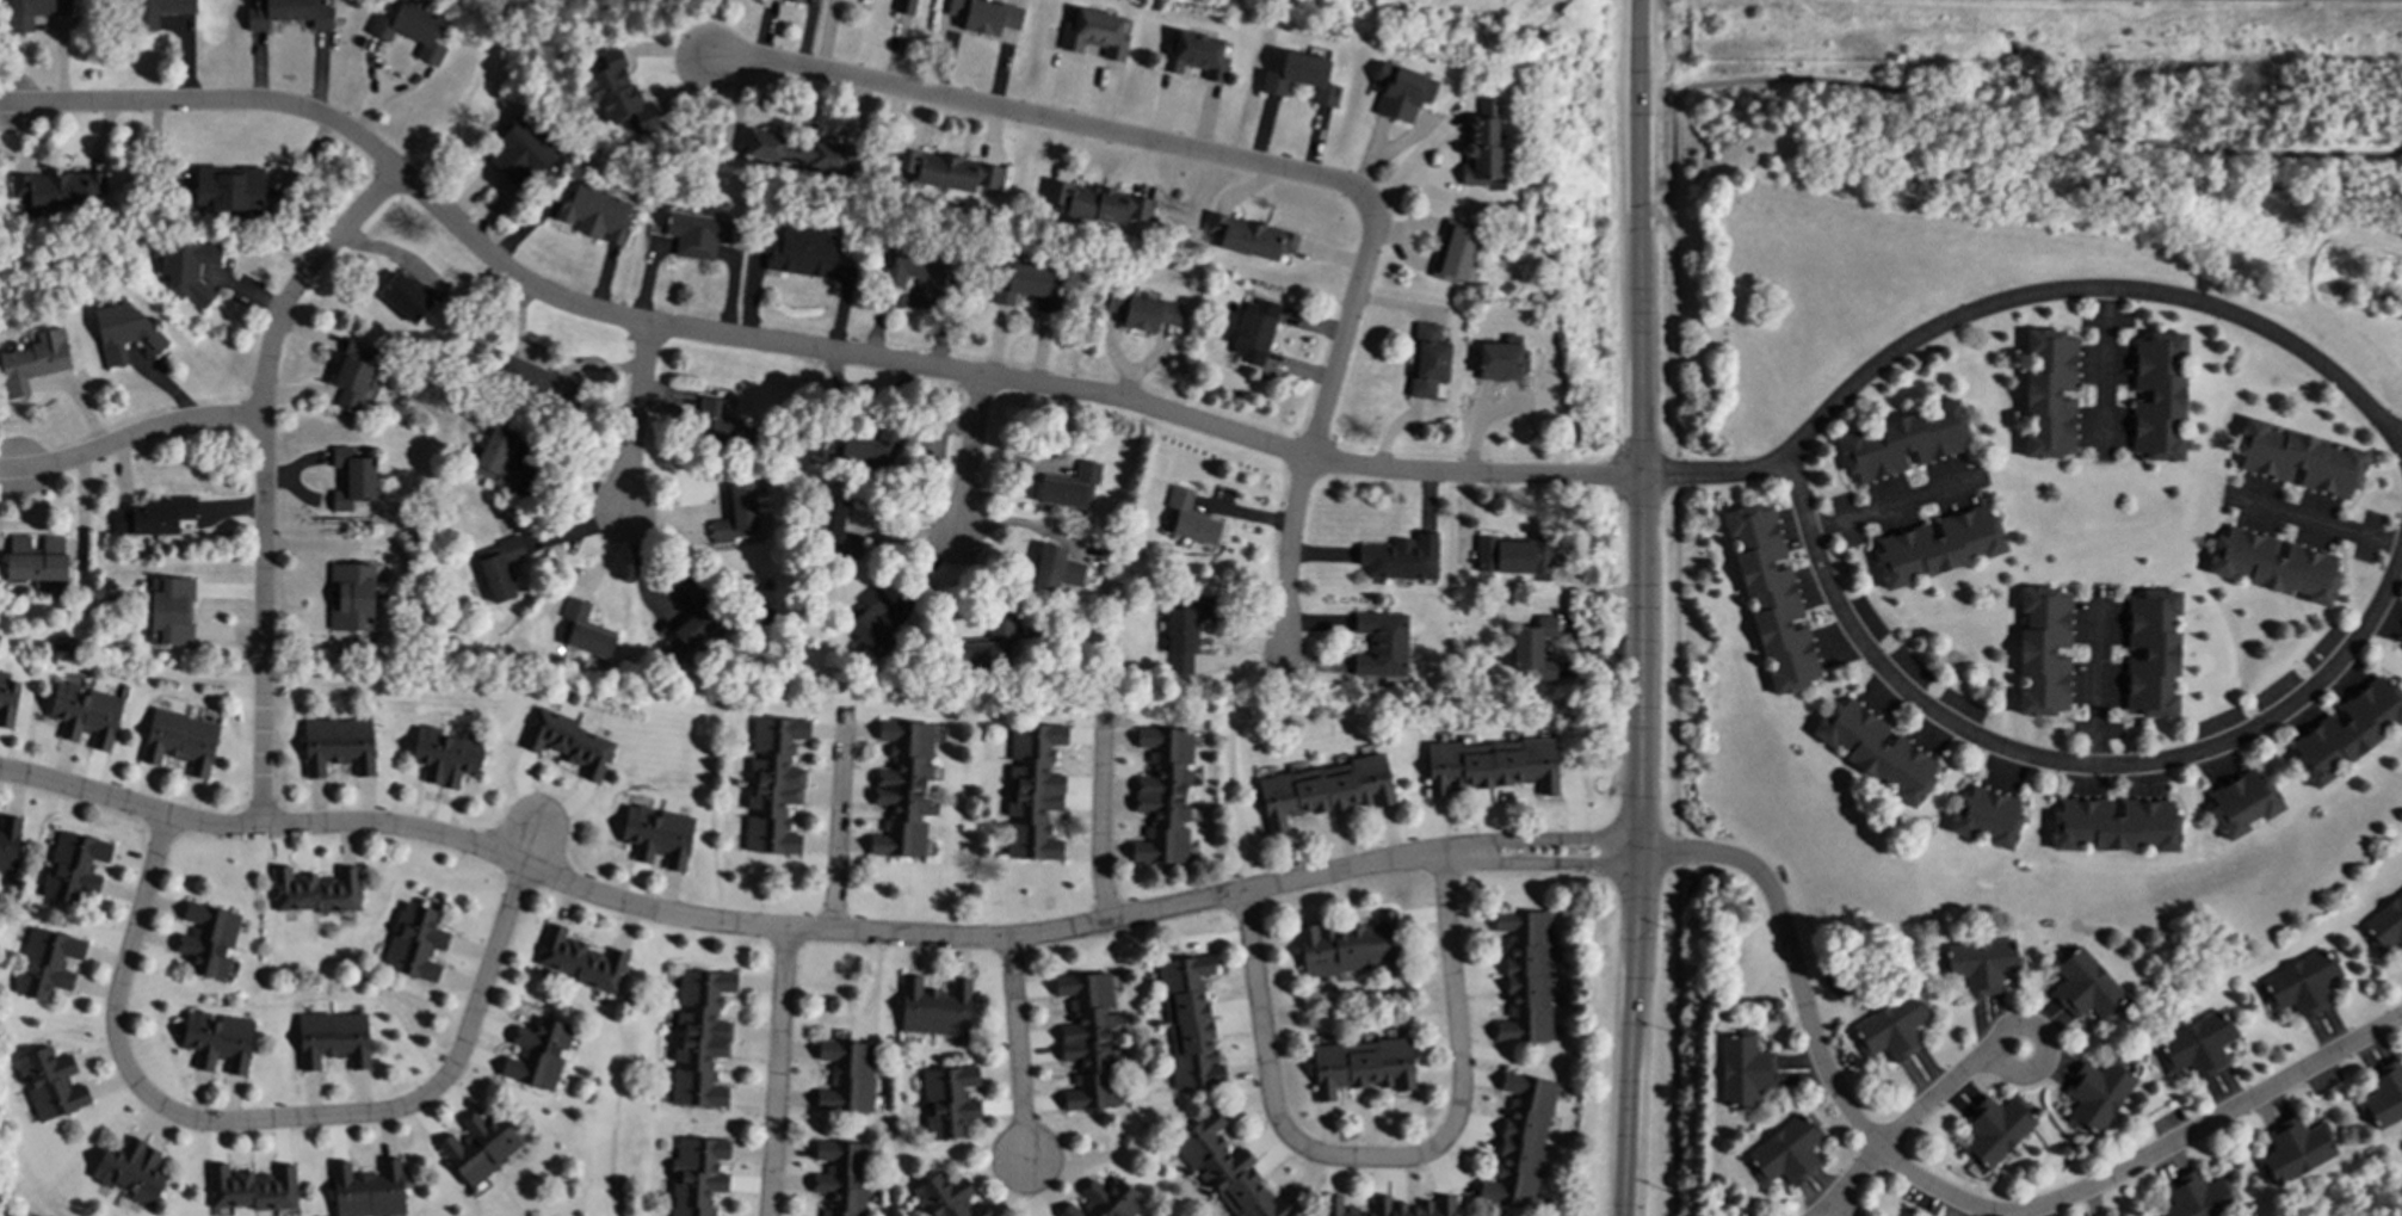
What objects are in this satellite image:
building: (797, 0)
building: (904, 6)
building: (160, 11)
building: (32, 12)
building: (289, 13)
building: (984, 16)
building: (409, 27)
building: (1094, 33)
building: (1193, 55)
building: (1301, 78)
building: (1400, 92)
building: (616, 93)
road: (1972, 105)
park: (2023, 116)
road: (1044, 118)
building: (1481, 146)
building: (796, 150)
building: (519, 153)
road: (1418, 158)
building: (944, 172)
building: (60, 189)
building: (228, 189)
building: (1097, 203)
building: (594, 212)
road: (1655, 215)
building: (696, 234)
building: (1247, 237)
building: (1453, 251)
building: (803, 253)
building: (187, 267)
building: (914, 268)
building: (1024, 285)
building: (406, 298)
building: (1142, 310)
building: (122, 331)
building: (1253, 331)
road: (866, 358)
building: (1499, 359)
building: (32, 362)
building: (1427, 362)
road: (2106, 368)
building: (352, 375)
building: (535, 382)
building: (2048, 393)
building: (2157, 396)
road: (636, 416)
building: (722, 425)
road: (130, 438)
road: (2400, 439)
building: (1902, 442)
road: (1311, 445)
building: (870, 450)
building: (2298, 458)
building: (496, 461)
road: (969, 464)
building: (352, 475)
road: (265, 476)
building: (1072, 487)
road: (1889, 504)
building: (153, 516)
building: (736, 516)
building: (1187, 518)
road: (2320, 523)
road: (1810, 527)
building: (834, 529)
building: (1937, 547)
building: (1513, 555)
building: (1400, 557)
building: (35, 558)
building: (2273, 566)
building: (499, 567)
building: (1055, 568)
building: (351, 597)
building: (1771, 597)
road: (1642, 607)
building: (171, 611)
building: (692, 617)
building: (872, 623)
building: (583, 630)
building: (1186, 632)
building: (64, 643)
building: (1381, 644)
building: (987, 649)
building: (1538, 652)
building: (2042, 652)
building: (2151, 654)
road: (2100, 683)
building: (7, 702)
building: (85, 714)
road: (1677, 720)
building: (2347, 730)
building: (180, 741)
building: (569, 743)
building: (338, 746)
building: (1876, 751)
building: (446, 755)
building: (1492, 765)
building: (773, 785)
building: (902, 789)
building: (1321, 790)
building: (1033, 791)
building: (1162, 796)
building: (2243, 803)
building: (1986, 817)
road: (839, 819)
road: (1100, 823)
building: (2114, 826)
building: (656, 835)
building: (8, 841)
road: (531, 845)
building: (74, 866)
road: (1313, 877)
building: (315, 890)
building: (2385, 924)
building: (208, 939)
building: (415, 943)
building: (1351, 948)
building: (580, 959)
building: (45, 963)
building: (1980, 964)
building: (1524, 976)
building: (2083, 984)
building: (2299, 984)
building: (934, 1007)
building: (1188, 1021)
building: (1892, 1027)
building: (700, 1037)
building: (333, 1039)
building: (218, 1041)
building: (1088, 1041)
building: (2199, 1044)
road: (1018, 1050)
building: (537, 1054)
building: (1360, 1066)
building: (1743, 1070)
road: (778, 1072)
road: (2026, 1073)
building: (846, 1076)
building: (49, 1082)
building: (2094, 1094)
building: (2383, 1094)
road: (1934, 1098)
building: (947, 1100)
road: (263, 1121)
building: (1994, 1129)
building: (1520, 1142)
building: (478, 1147)
building: (2292, 1150)
building: (1786, 1152)
road: (1384, 1159)
building: (130, 1169)
building: (1229, 1172)
building: (697, 1175)
building: (841, 1178)
road: (1853, 1179)
building: (252, 1187)
building: (368, 1190)
building: (946, 1197)
building: (2197, 1197)
building: (1104, 1200)
building: (1390, 1206)
park: (2398, 1214)
road: (1830, 1215)

